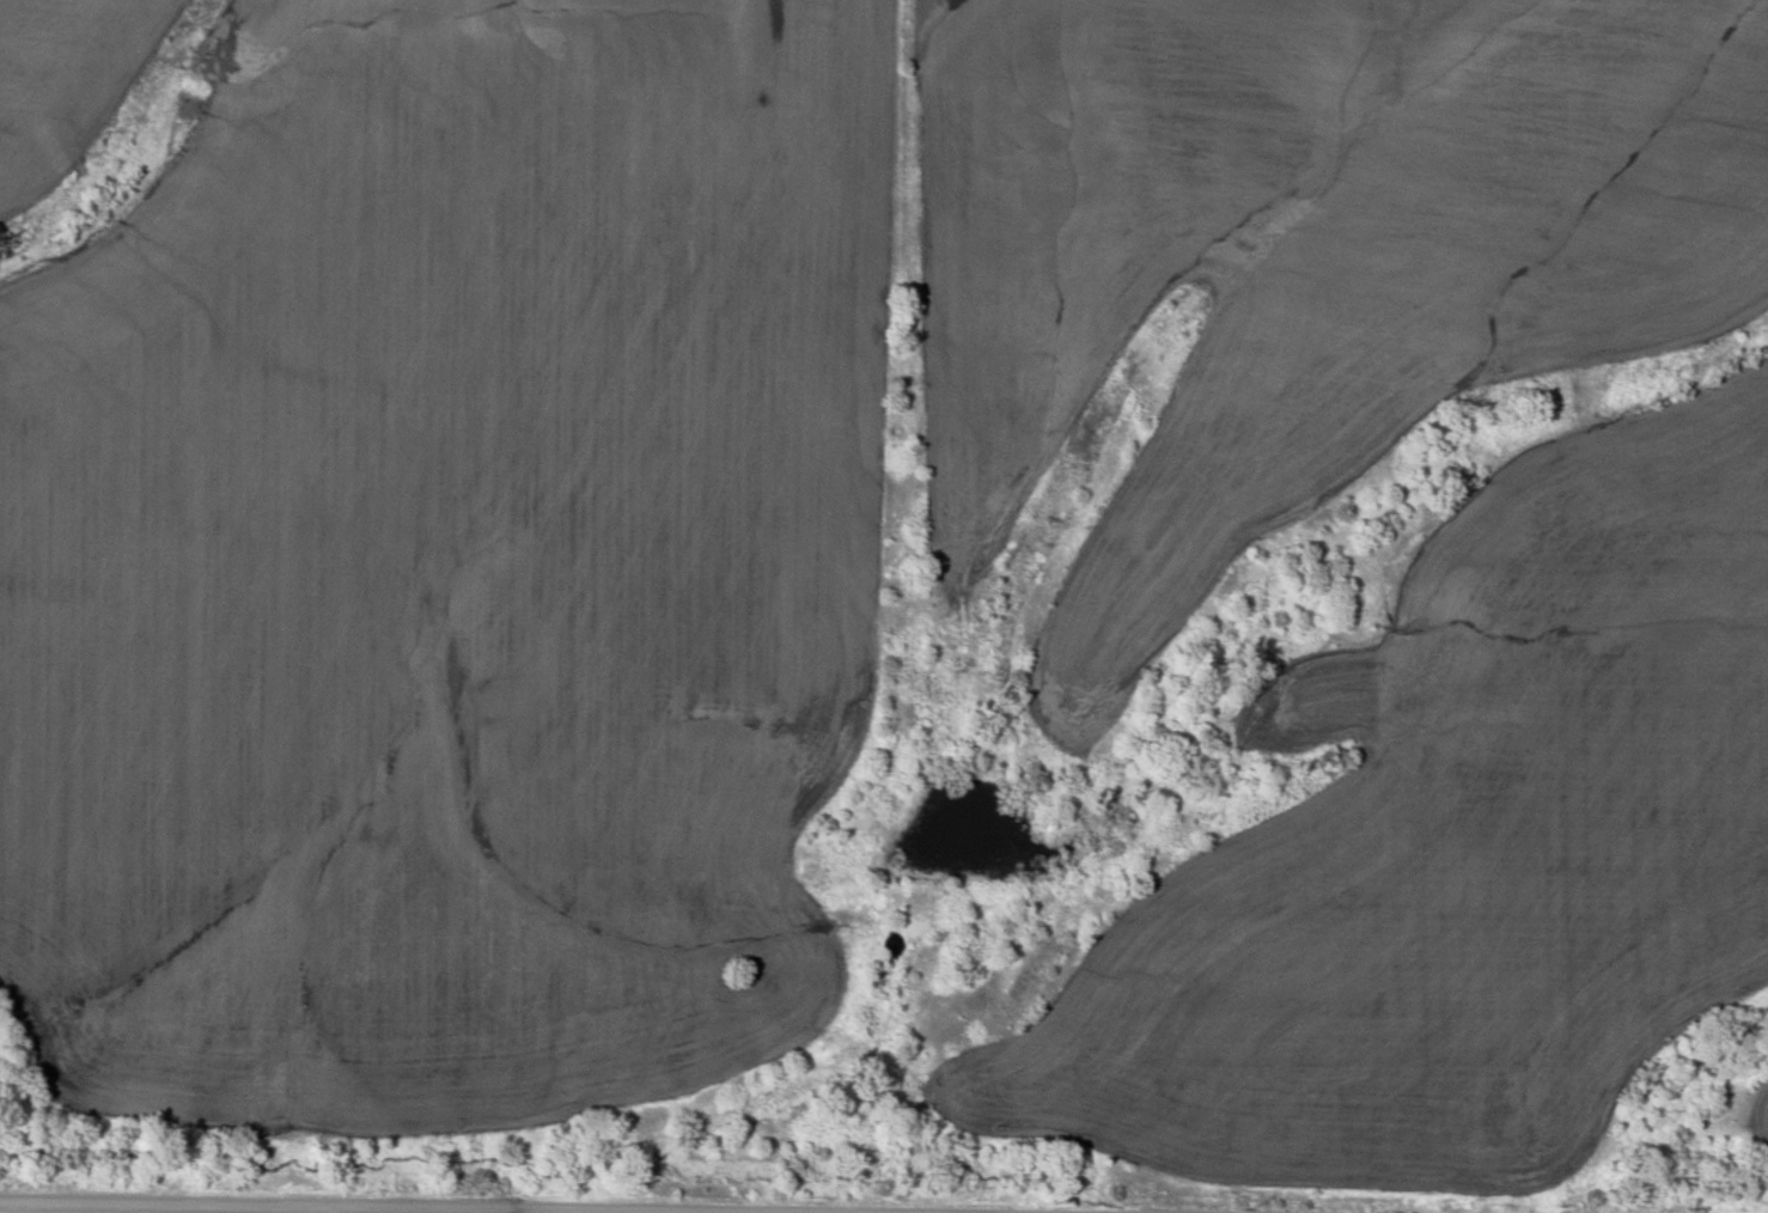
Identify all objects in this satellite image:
crop: (62, 81)
crop: (1297, 256)
crop: (444, 565)
crop: (1462, 849)
crop: (1758, 1130)
road: (341, 1207)

